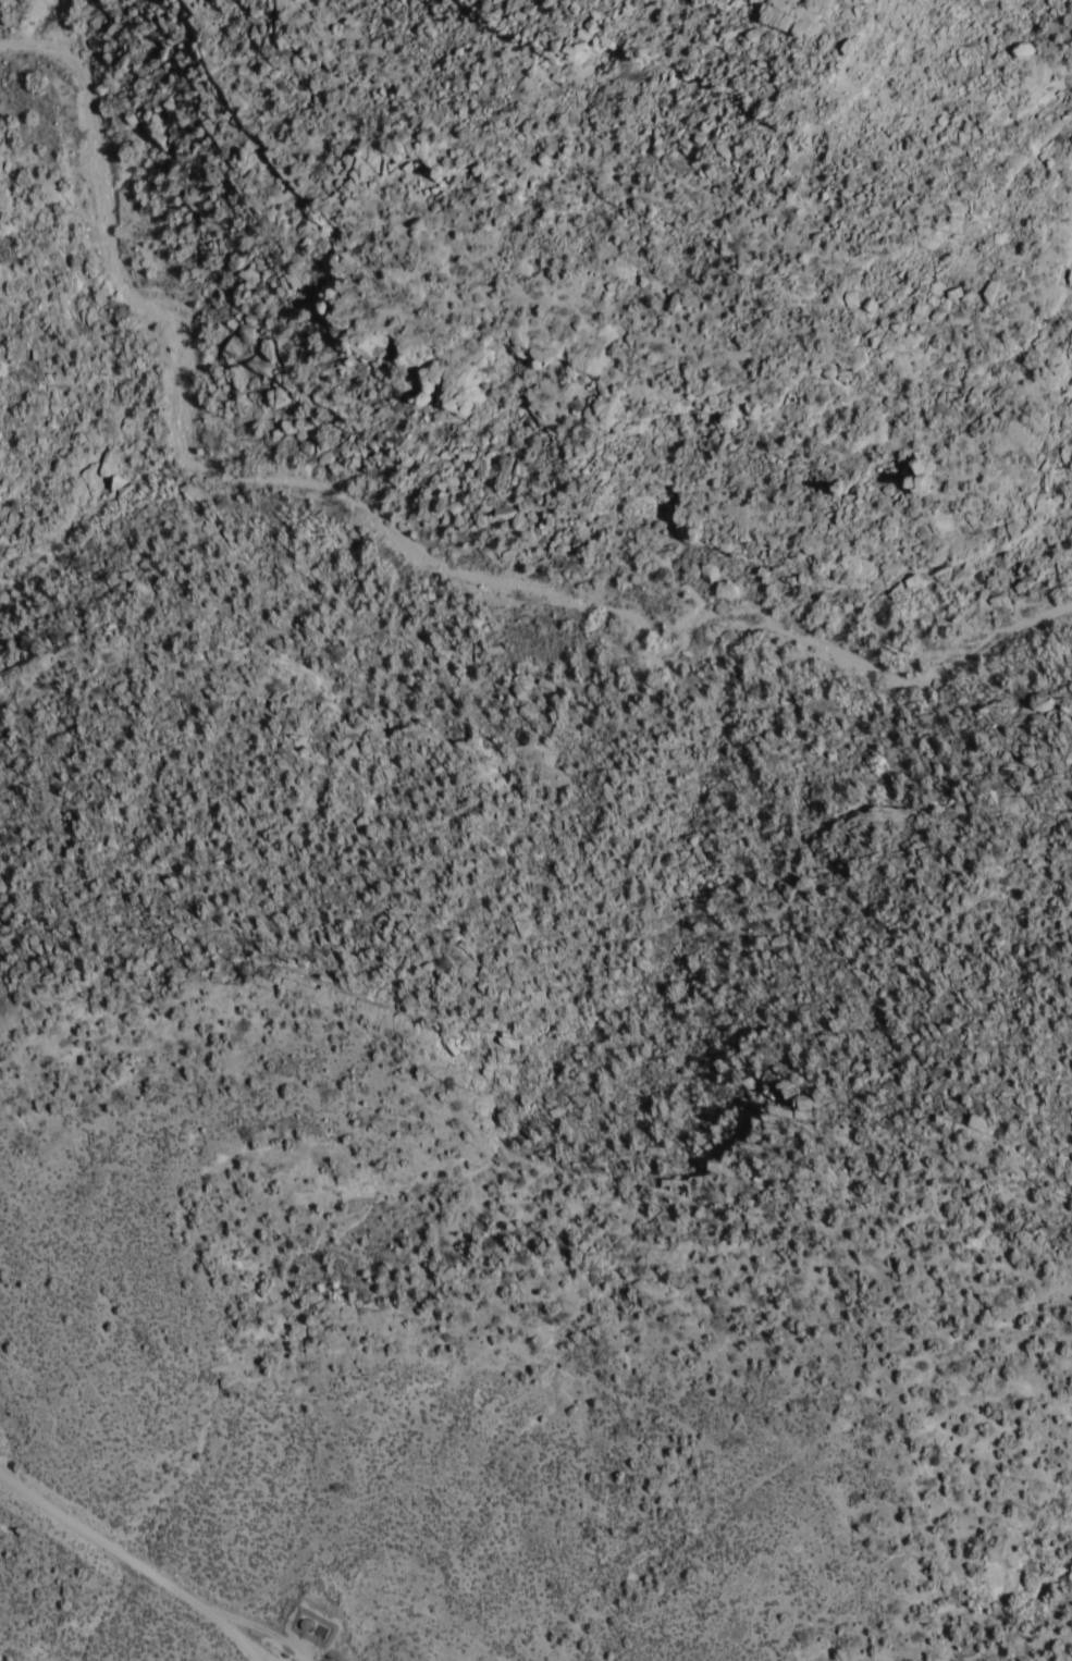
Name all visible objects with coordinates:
road: (215, 1603)

